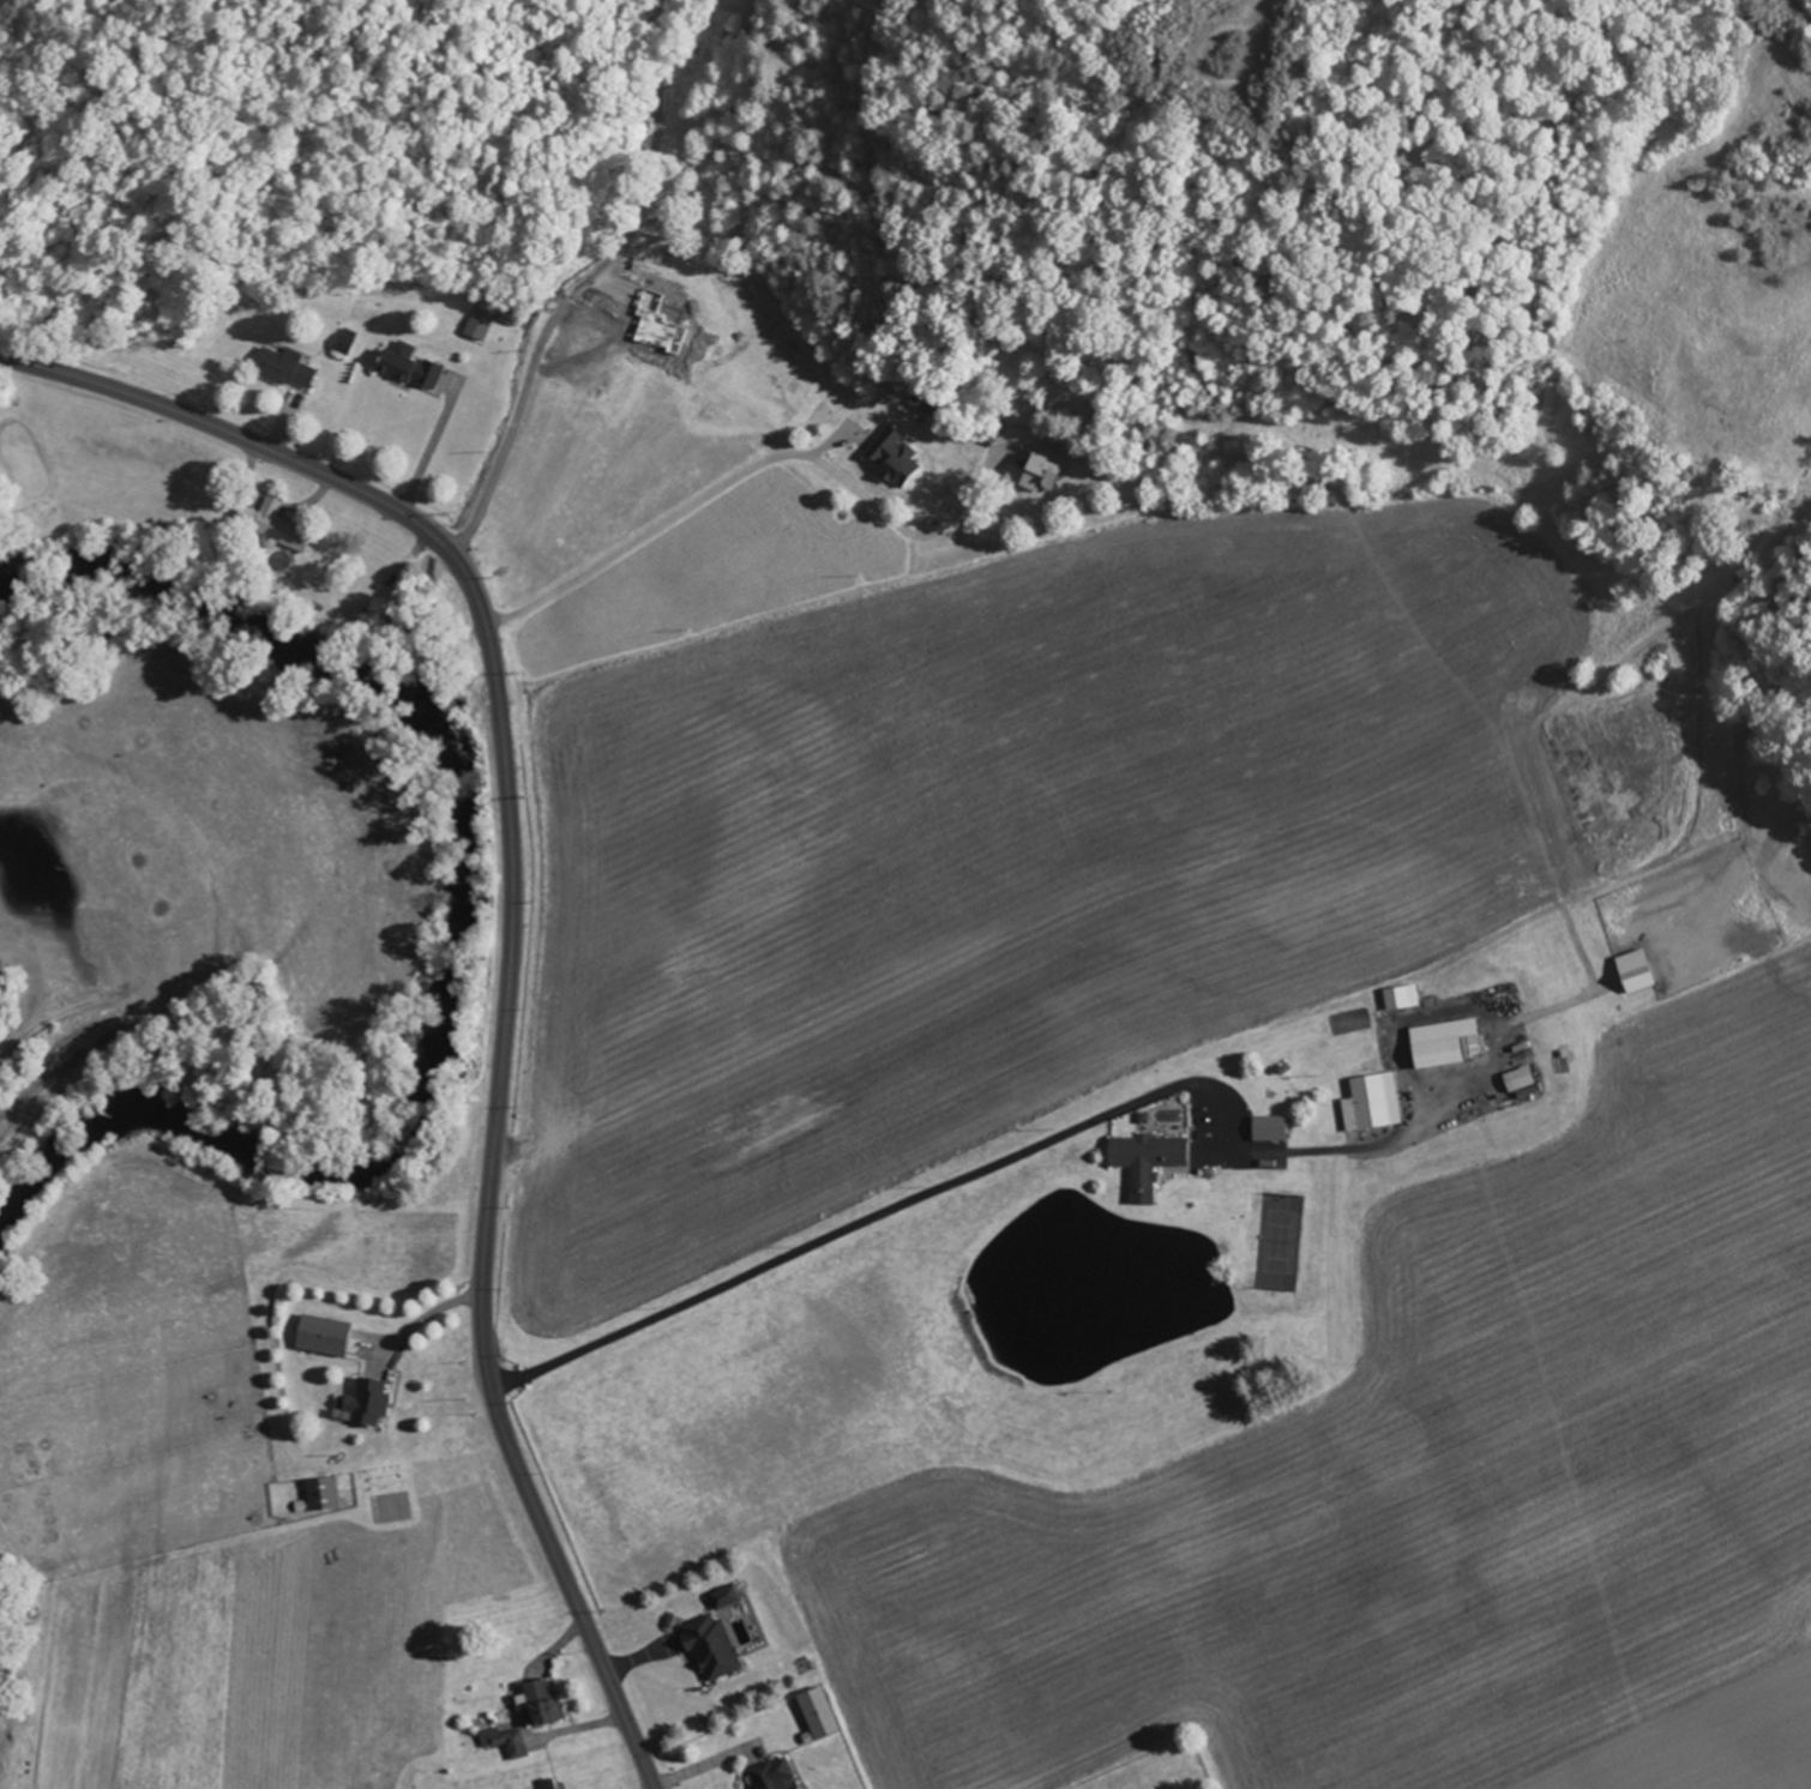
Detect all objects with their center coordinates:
road: (1801, 6)
building: (733, 290)
building: (480, 324)
building: (582, 359)
building: (288, 367)
building: (414, 367)
building: (782, 378)
road: (431, 444)
building: (894, 457)
building: (1047, 476)
building: (299, 536)
road: (643, 536)
road: (1175, 861)
road: (512, 934)
road: (60, 1012)
building: (1372, 1103)
building: (1271, 1128)
building: (1150, 1153)
road: (1096, 1181)
building: (327, 1337)
building: (371, 1403)
building: (325, 1494)
building: (714, 1649)
building: (543, 1701)
building: (506, 1742)
building: (776, 1775)
building: (555, 1787)

